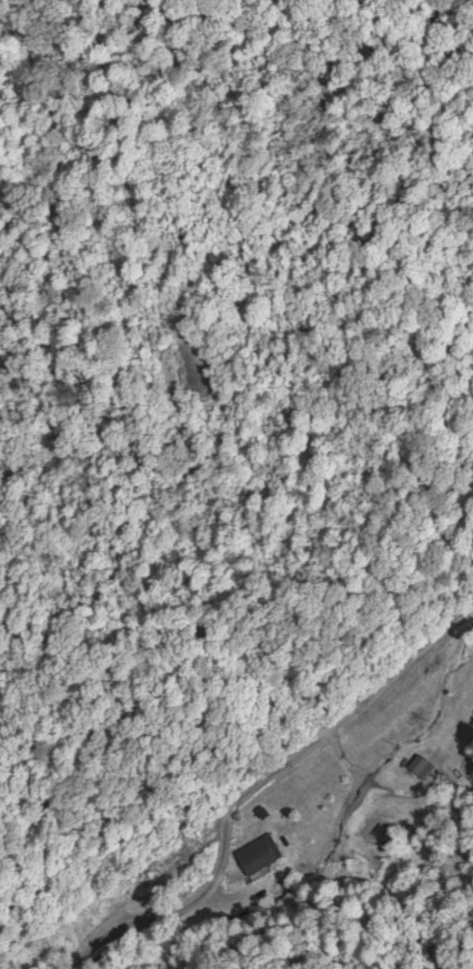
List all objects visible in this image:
building: (421, 767)
road: (265, 809)
building: (386, 836)
building: (258, 854)

